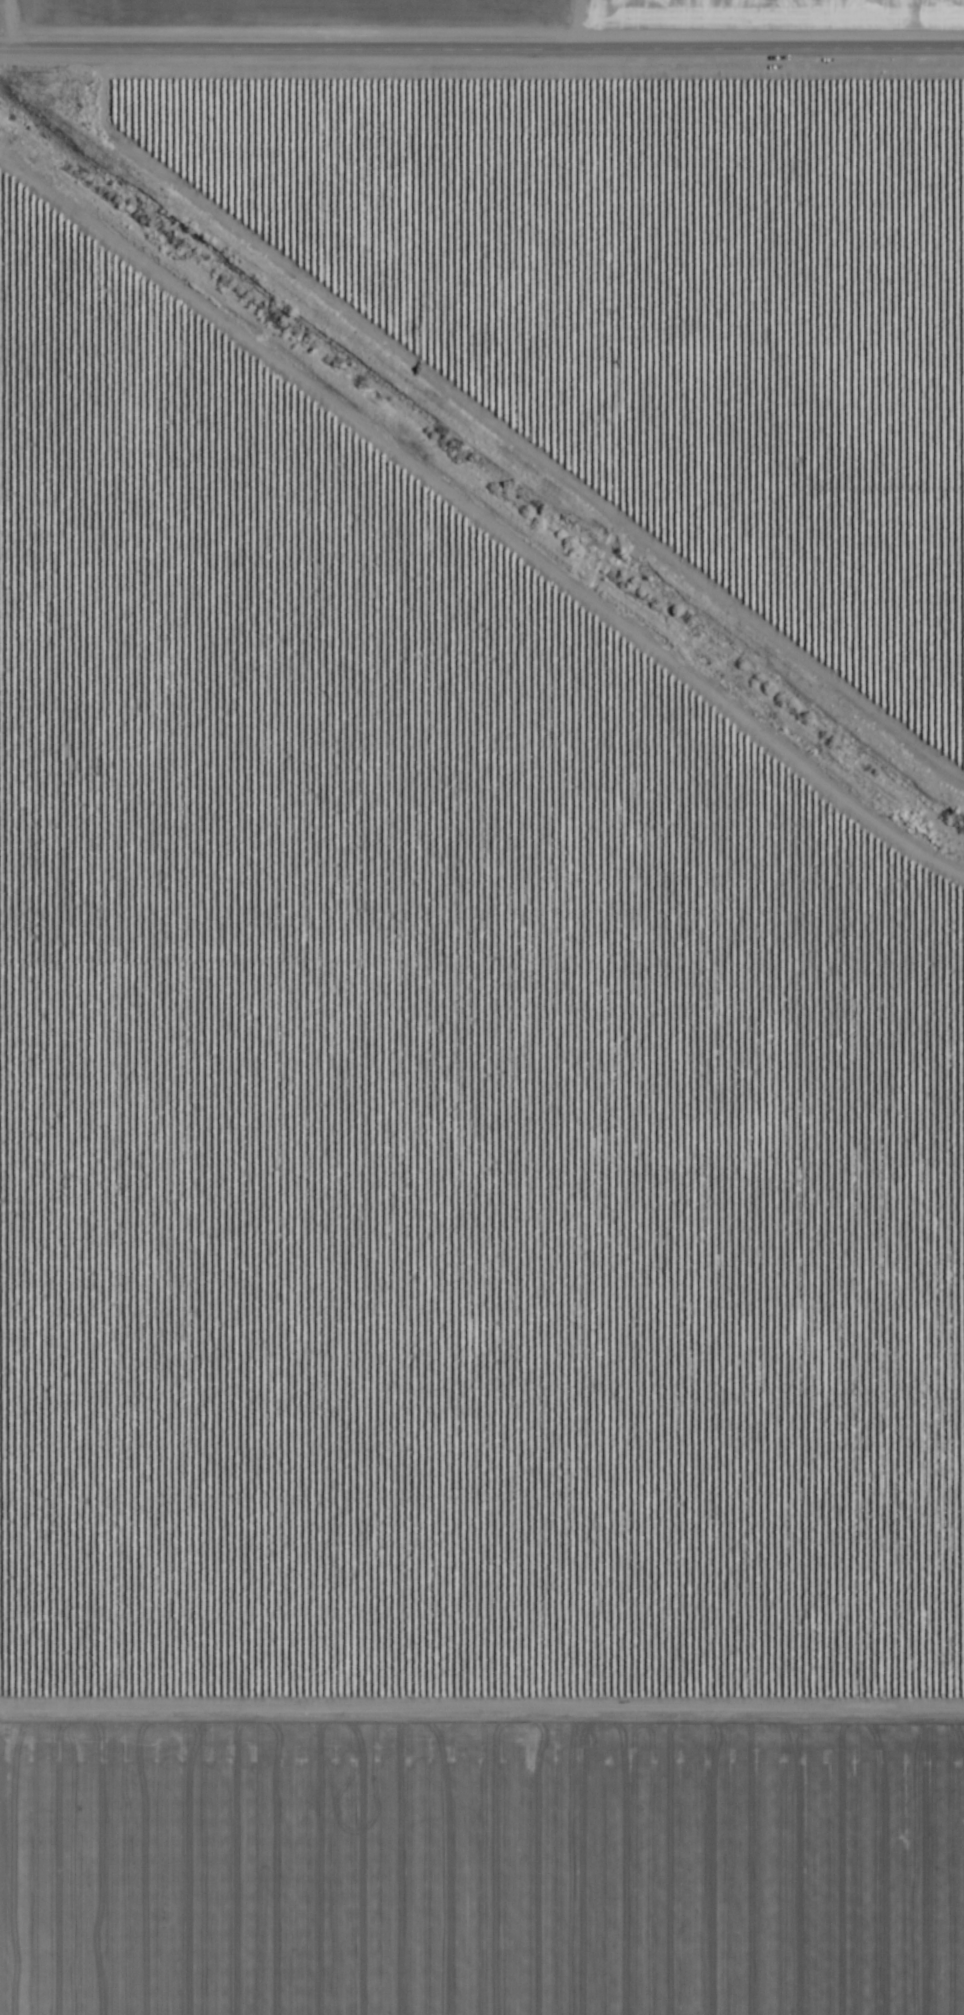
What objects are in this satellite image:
road: (482, 46)
crop: (482, 1007)
road: (482, 1698)

